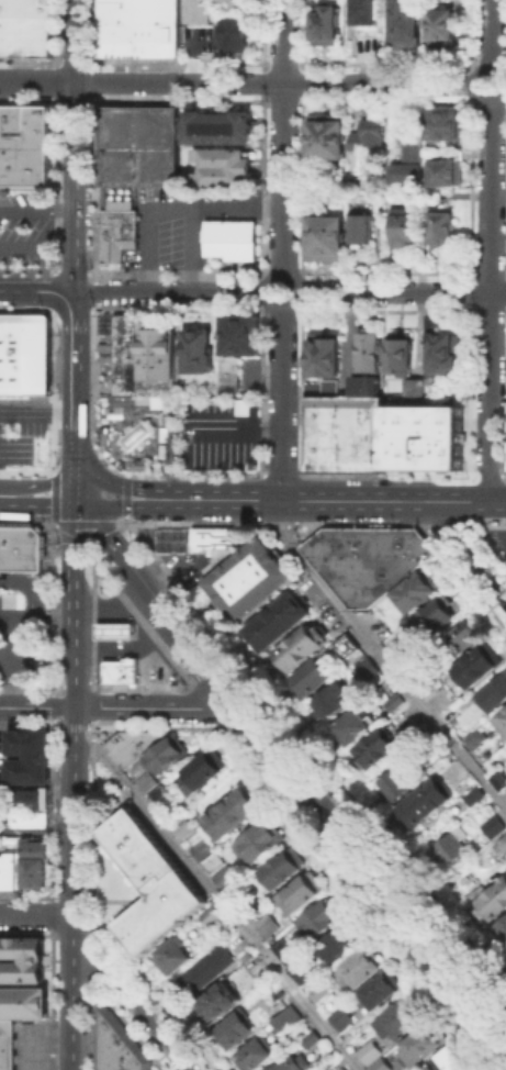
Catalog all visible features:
building: (238, 3)
building: (202, 11)
building: (368, 12)
building: (408, 20)
building: (326, 24)
building: (443, 25)
building: (25, 27)
building: (138, 29)
road: (492, 34)
building: (239, 35)
road: (36, 81)
road: (274, 81)
road: (476, 85)
building: (217, 125)
building: (450, 126)
building: (370, 136)
road: (283, 138)
building: (328, 140)
road: (74, 145)
building: (137, 145)
building: (25, 146)
building: (355, 161)
building: (412, 164)
building: (221, 166)
building: (447, 172)
road: (170, 205)
road: (36, 208)
parking lot: (184, 220)
parking lot: (25, 225)
building: (406, 225)
building: (445, 229)
building: (363, 230)
building: (116, 232)
building: (328, 236)
road: (37, 238)
building: (229, 238)
road: (194, 248)
road: (36, 290)
road: (170, 291)
road: (402, 291)
road: (297, 293)
road: (490, 300)
building: (119, 327)
building: (238, 332)
building: (200, 348)
building: (443, 350)
building: (372, 352)
building: (402, 352)
building: (24, 353)
building: (116, 353)
building: (156, 355)
building: (327, 355)
road: (74, 358)
building: (228, 374)
building: (125, 377)
building: (321, 388)
building: (418, 388)
road: (282, 403)
road: (37, 410)
road: (238, 428)
parking lot: (24, 430)
parking lot: (220, 431)
building: (423, 432)
building: (346, 433)
building: (134, 434)
road: (75, 438)
building: (167, 441)
road: (74, 477)
road: (115, 483)
road: (47, 484)
road: (338, 499)
road: (35, 505)
traffic signals: (72, 505)
road: (122, 505)
road: (83, 523)
road: (86, 535)
building: (215, 540)
building: (20, 547)
road: (469, 551)
building: (366, 559)
road: (71, 561)
road: (126, 561)
building: (255, 577)
road: (26, 586)
building: (412, 590)
road: (113, 609)
building: (434, 616)
road: (13, 617)
road: (49, 617)
building: (283, 621)
road: (113, 628)
building: (113, 629)
gas station: (113, 629)
building: (463, 633)
building: (344, 645)
road: (127, 648)
building: (302, 650)
road: (382, 658)
road: (5, 662)
road: (72, 662)
building: (474, 666)
road: (211, 667)
building: (366, 667)
building: (120, 669)
building: (312, 681)
road: (234, 683)
building: (492, 691)
road: (217, 698)
building: (331, 699)
building: (392, 700)
road: (237, 705)
road: (35, 707)
road: (149, 707)
building: (501, 717)
building: (352, 724)
building: (29, 734)
building: (473, 737)
building: (132, 744)
building: (29, 747)
building: (374, 747)
building: (482, 754)
building: (168, 755)
building: (29, 762)
road: (82, 764)
building: (203, 773)
building: (27, 774)
building: (498, 779)
building: (146, 781)
building: (394, 783)
building: (505, 788)
building: (473, 793)
building: (31, 798)
building: (423, 801)
building: (235, 813)
building: (27, 817)
building: (182, 826)
building: (492, 826)
road: (36, 829)
building: (257, 840)
building: (33, 841)
building: (504, 844)
building: (452, 847)
building: (34, 851)
building: (25, 861)
building: (211, 861)
building: (11, 868)
building: (2, 871)
building: (282, 871)
building: (25, 872)
building: (38, 872)
building: (224, 874)
building: (25, 883)
building: (150, 883)
road: (71, 888)
building: (301, 894)
road: (393, 896)
building: (492, 898)
road: (221, 901)
building: (210, 914)
road: (35, 915)
building: (322, 919)
building: (266, 924)
building: (503, 930)
building: (340, 943)
building: (175, 958)
building: (292, 958)
building: (21, 959)
building: (206, 970)
building: (360, 970)
building: (318, 991)
building: (381, 993)
building: (222, 1003)
road: (135, 1005)
building: (285, 1016)
building: (345, 1017)
building: (400, 1019)
building: (237, 1030)
building: (308, 1037)
building: (8, 1044)
building: (424, 1045)
building: (117, 1047)
building: (369, 1050)
building: (259, 1055)
building: (451, 1060)
building: (286, 1063)
building: (379, 1063)
building: (339, 1068)

